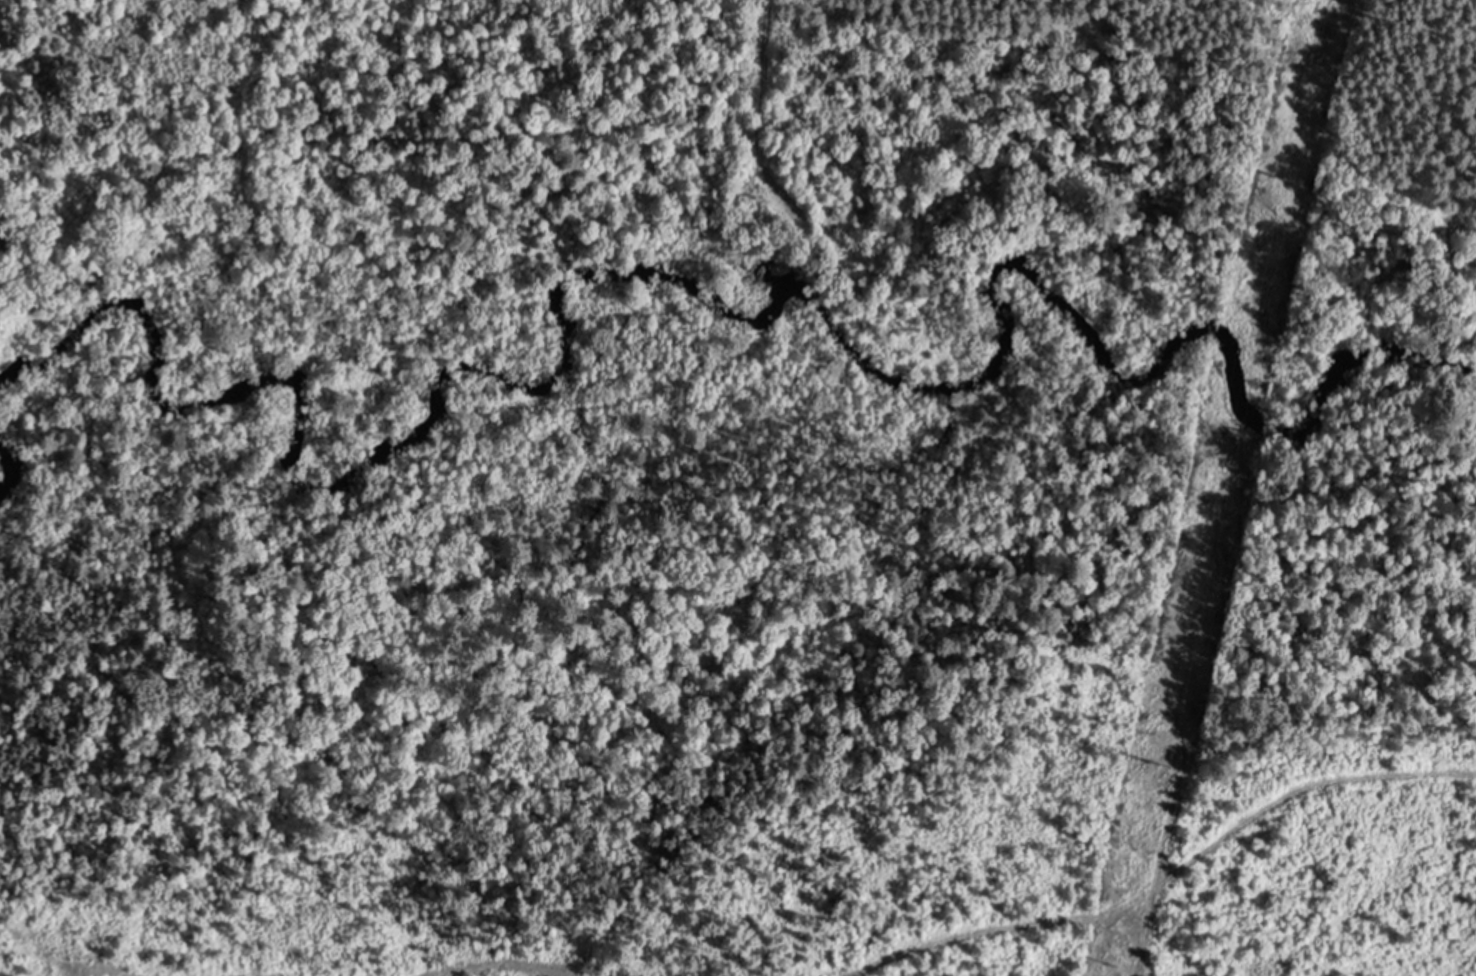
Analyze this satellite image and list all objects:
power tower: (1294, 179)
river: (603, 270)
park: (1421, 301)
river: (7, 454)
power tower: (1168, 764)
power tower: (1129, 966)

